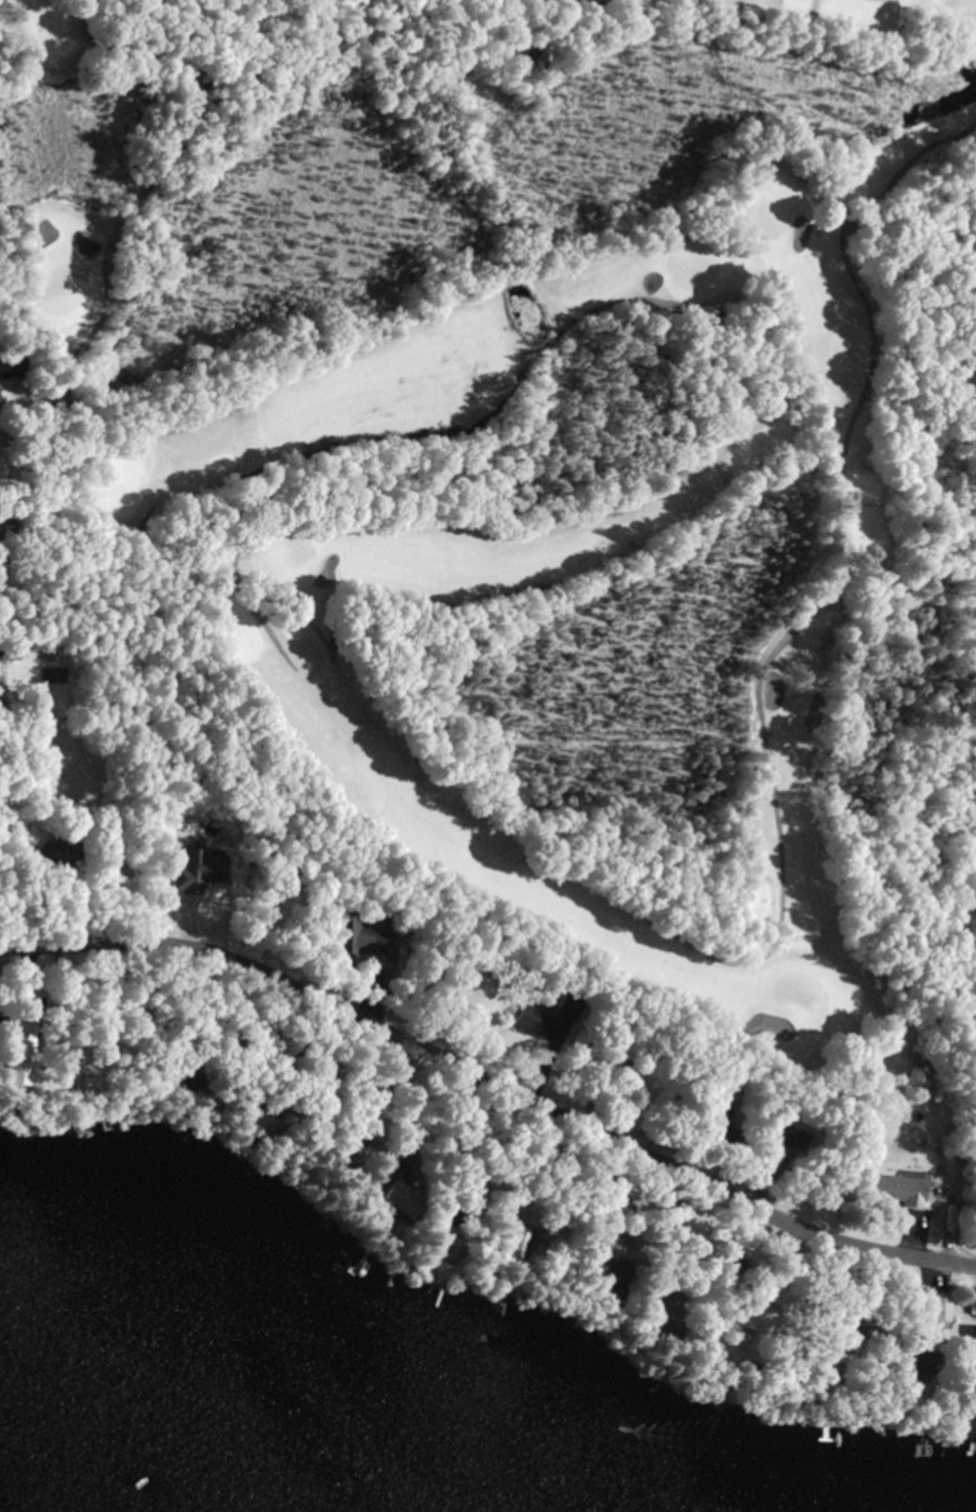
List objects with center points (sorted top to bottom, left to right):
park: (549, 464)
building: (18, 652)
building: (63, 853)
building: (355, 937)
building: (533, 1021)
building: (20, 1054)
road: (492, 1079)
building: (81, 1080)
building: (180, 1081)
building: (722, 1118)
building: (388, 1185)
building: (894, 1188)
building: (508, 1231)
building: (588, 1268)
building: (657, 1300)
building: (935, 1309)
building: (904, 1362)

